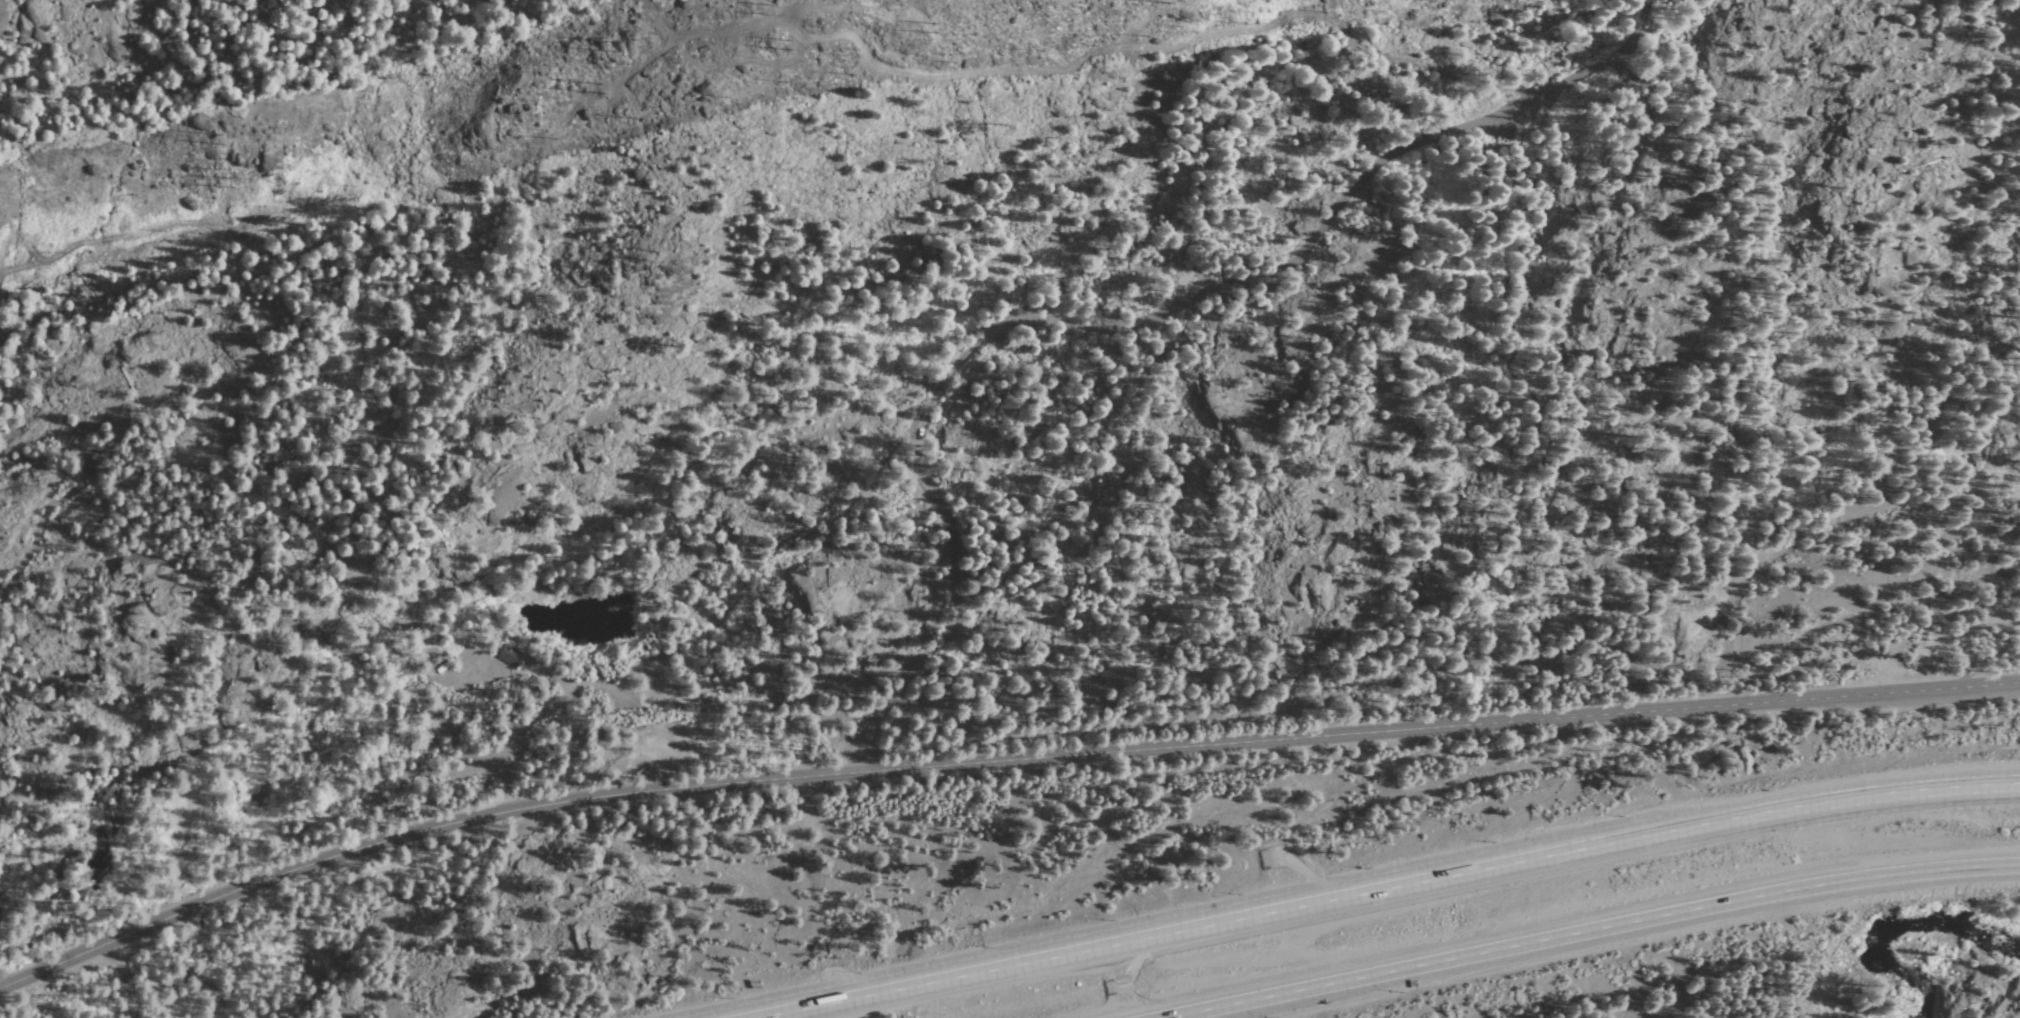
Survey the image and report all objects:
power tower: (771, 5)
power tower: (941, 25)
power tower: (614, 44)
power tower: (785, 44)
power tower: (593, 88)
power tower: (228, 136)
power tower: (231, 176)
road: (1101, 299)
road: (994, 762)
road: (1381, 887)
river: (1903, 929)
road: (1605, 935)

